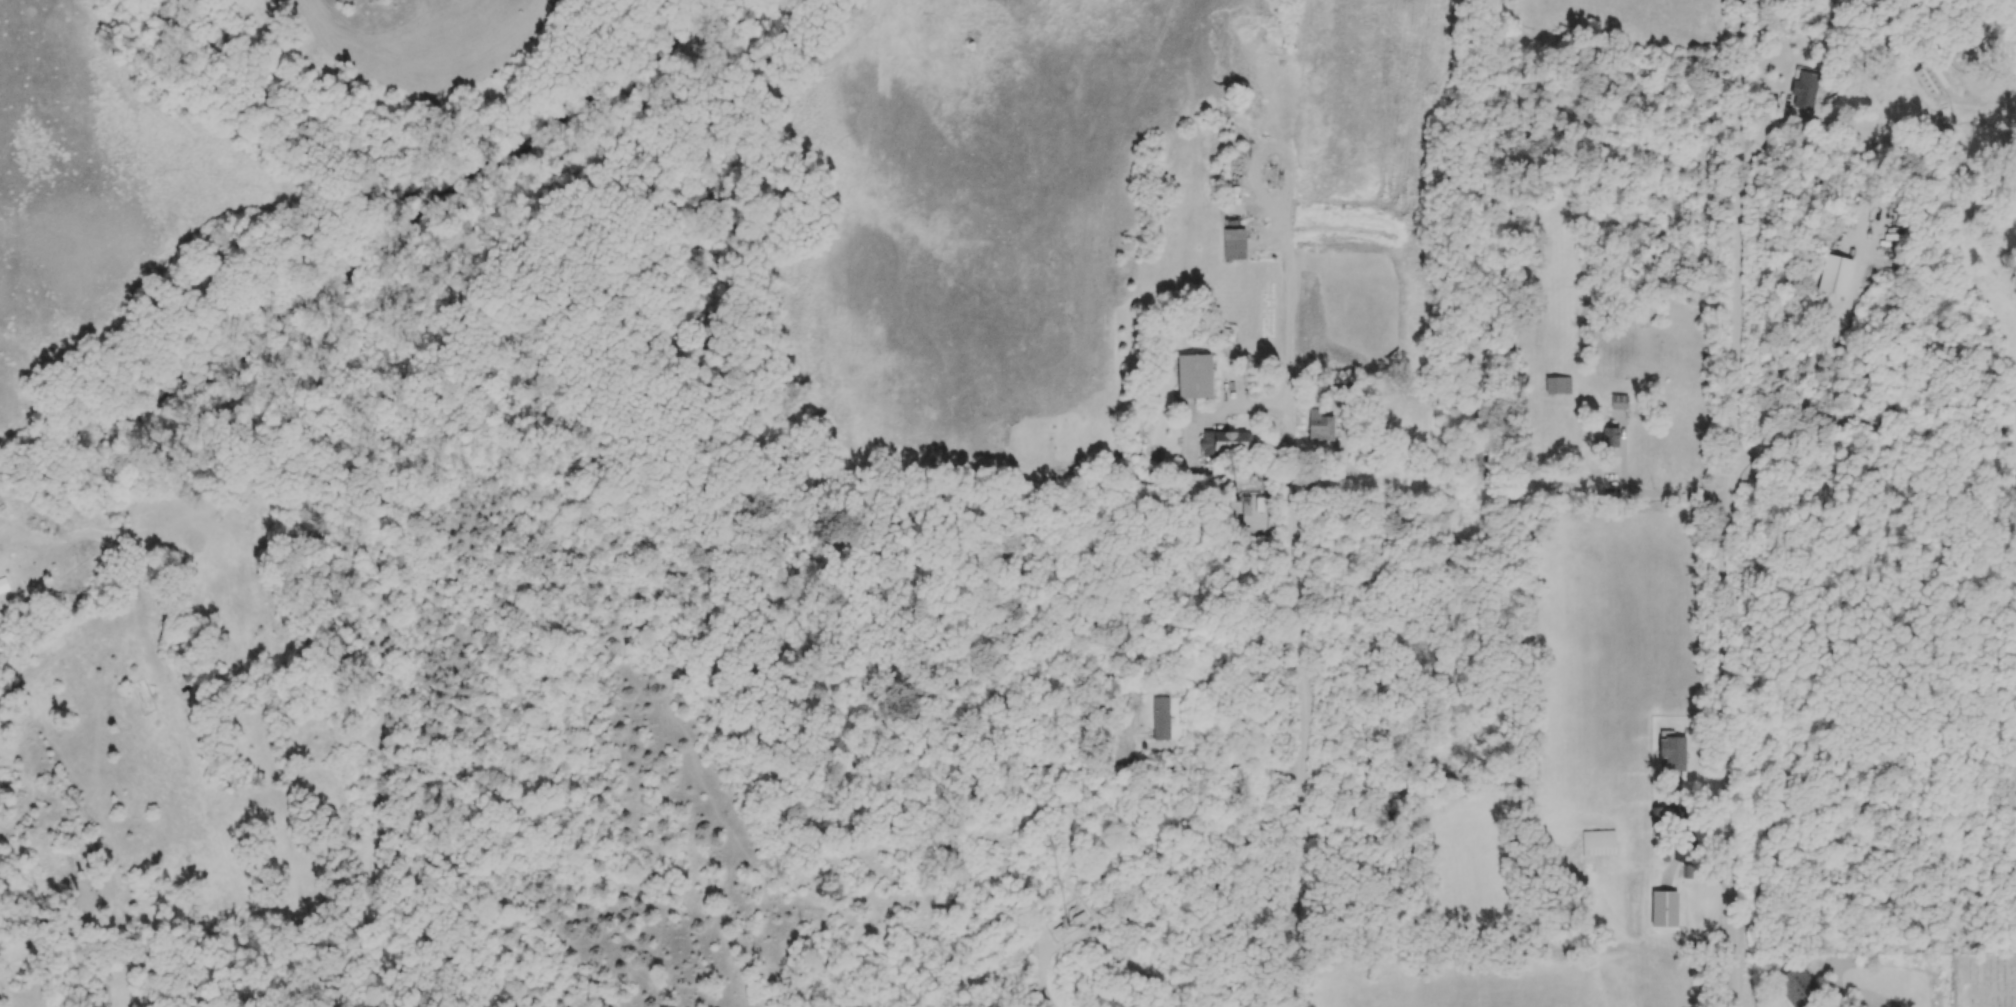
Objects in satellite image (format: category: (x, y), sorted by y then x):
building: (1927, 80)
building: (1804, 89)
park: (278, 188)
road: (1738, 215)
building: (1233, 243)
building: (1833, 275)
building: (1193, 376)
building: (1557, 385)
building: (1618, 401)
building: (1319, 426)
building: (1607, 438)
building: (1226, 442)
road: (1661, 489)
building: (1245, 505)
road: (1298, 636)
road: (1722, 687)
building: (1160, 718)
building: (1672, 752)
building: (1598, 843)
road: (430, 976)
road: (1736, 976)
park: (1884, 980)
building: (1796, 986)

